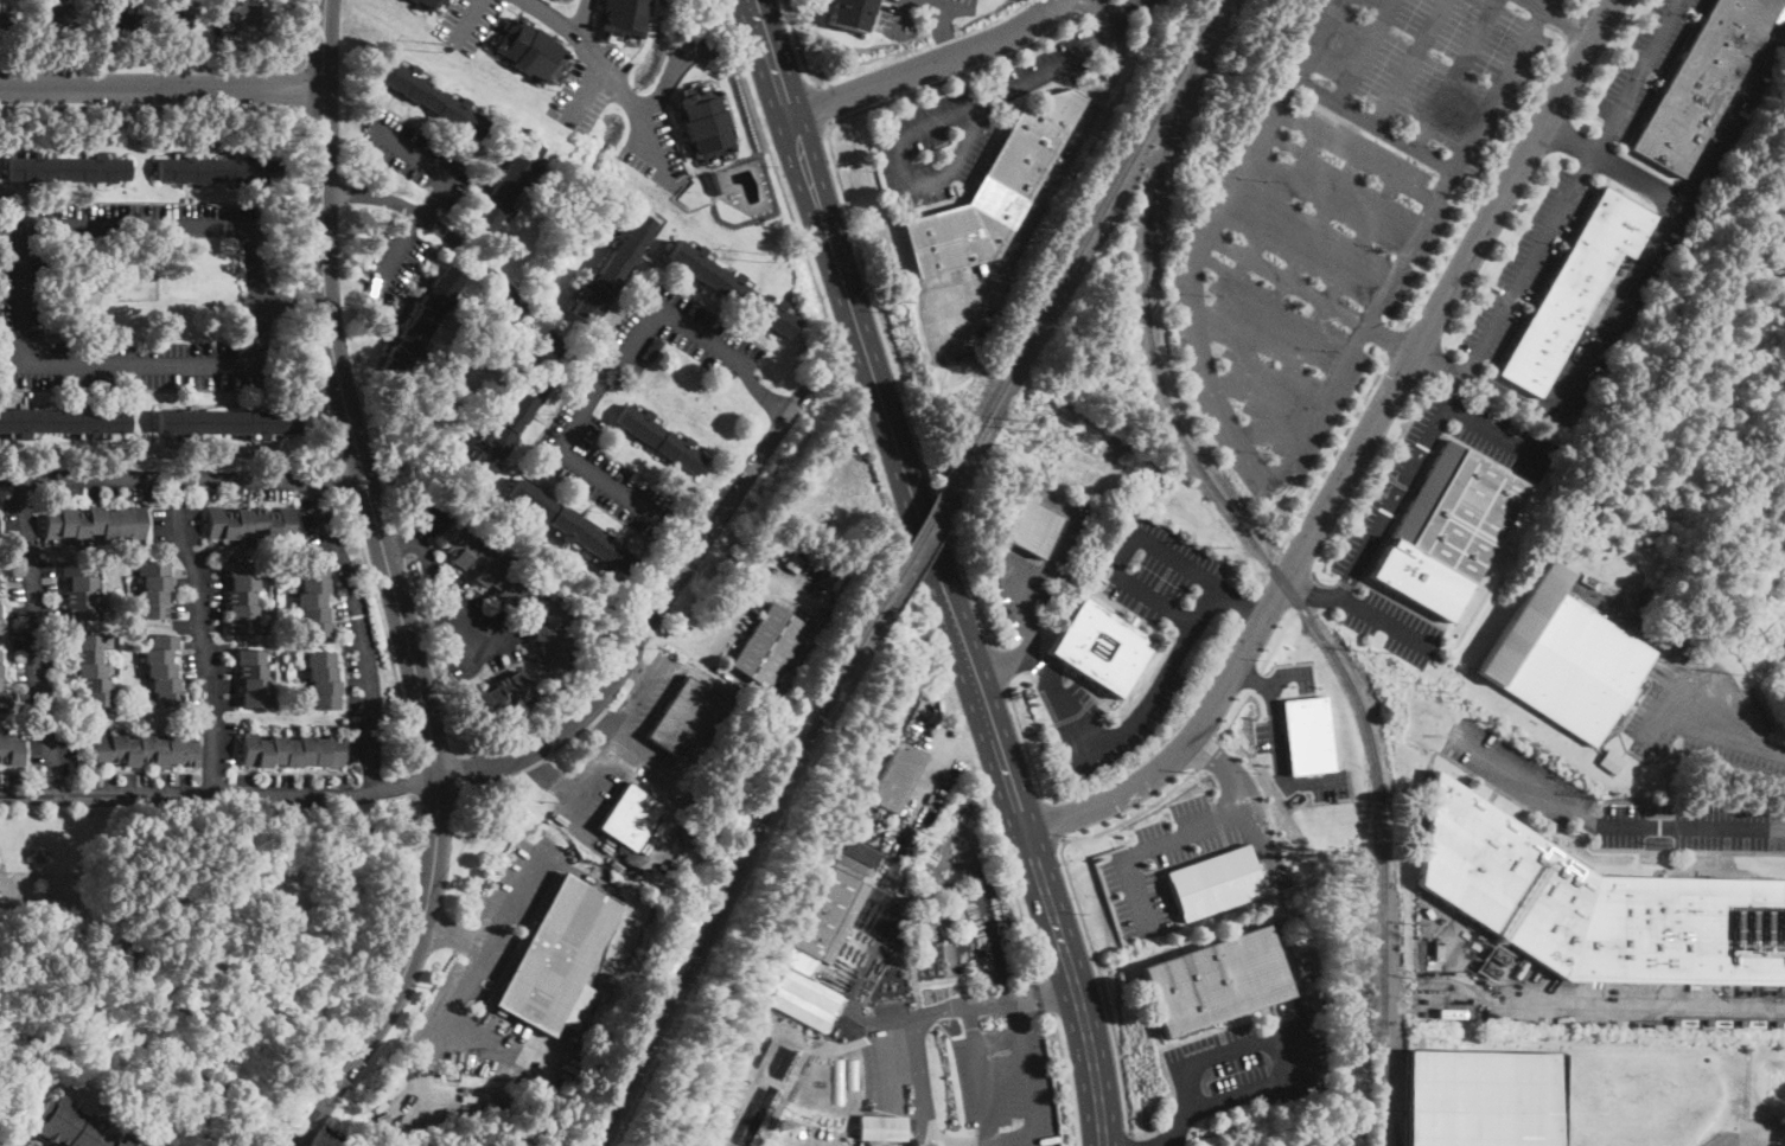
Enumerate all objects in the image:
building: (567, 0)
building: (429, 4)
road: (1586, 4)
road: (1080, 5)
building: (849, 14)
building: (119, 15)
building: (241, 15)
road: (903, 15)
building: (624, 17)
building: (173, 18)
road: (467, 18)
building: (57, 19)
parking lot: (897, 21)
road: (1114, 21)
parking lot: (467, 23)
road: (563, 23)
building: (2, 25)
road: (1574, 25)
road: (946, 26)
road: (305, 31)
road: (797, 43)
power tower: (432, 44)
parking lot: (696, 45)
building: (529, 51)
road: (927, 65)
parking lot: (1643, 66)
road: (669, 70)
building: (1701, 82)
road: (161, 85)
road: (302, 85)
road: (585, 89)
parking lot: (579, 96)
building: (432, 97)
road: (625, 100)
road: (821, 102)
road: (1730, 104)
road: (238, 108)
road: (931, 120)
building: (706, 124)
parking lot: (960, 127)
road: (1568, 136)
parking lot: (654, 148)
parking lot: (415, 155)
road: (432, 164)
building: (66, 168)
building: (217, 169)
building: (712, 183)
road: (1485, 184)
building: (508, 185)
road: (1569, 186)
road: (1048, 188)
building: (994, 192)
parking lot: (141, 218)
railway: (1094, 226)
parking lot: (1656, 247)
road: (393, 250)
road: (863, 254)
power tower: (758, 256)
parking lot: (389, 262)
parking lot: (1526, 265)
building: (611, 268)
road: (21, 274)
park: (135, 282)
parking lot: (21, 286)
building: (731, 288)
building: (1574, 288)
road: (305, 295)
road: (1613, 314)
building: (421, 321)
parking lot: (675, 334)
road: (1395, 341)
building: (652, 350)
road: (573, 358)
road: (1440, 364)
road: (319, 390)
road: (343, 395)
building: (62, 422)
building: (224, 423)
power tower: (1024, 423)
building: (504, 427)
road: (1492, 433)
building: (659, 438)
road: (1357, 456)
parking lot: (598, 457)
road: (1321, 474)
road: (600, 475)
road: (181, 478)
road: (344, 482)
road: (1400, 484)
road: (879, 488)
building: (94, 523)
building: (249, 523)
railway: (926, 525)
building: (1032, 526)
building: (572, 527)
parking lot: (1369, 527)
building: (1448, 531)
power tower: (1212, 545)
road: (1122, 553)
railway: (1271, 565)
building: (489, 569)
road: (933, 571)
parking lot: (1035, 572)
parking lot: (1166, 576)
road: (433, 582)
building: (81, 589)
building: (153, 589)
road: (1313, 591)
building: (242, 598)
building: (313, 600)
road: (1238, 604)
road: (1244, 608)
road: (1022, 612)
road: (1384, 620)
building: (1, 626)
parking lot: (1392, 626)
road: (651, 629)
road: (383, 630)
road: (359, 632)
road: (204, 634)
road: (36, 638)
road: (1276, 639)
building: (550, 641)
building: (769, 646)
building: (1102, 647)
power tower: (1375, 651)
building: (1563, 659)
road: (997, 664)
road: (1697, 664)
road: (1000, 666)
building: (93, 671)
building: (162, 671)
power tower: (1738, 672)
road: (1288, 674)
building: (1, 677)
building: (254, 679)
road: (1255, 679)
building: (323, 680)
power tower: (1424, 680)
building: (502, 697)
parking lot: (1069, 698)
road: (1669, 699)
road: (1261, 700)
road: (1235, 712)
road: (1076, 713)
parking lot: (1704, 718)
building: (684, 719)
power tower: (1487, 721)
road: (1127, 729)
road: (1038, 730)
road: (1166, 735)
building: (1307, 735)
parking lot: (1268, 736)
road: (1026, 747)
road: (1277, 748)
building: (11, 750)
building: (144, 750)
building: (292, 750)
road: (1209, 751)
road: (610, 760)
building: (1609, 762)
parking lot: (1517, 774)
building: (897, 776)
road: (1204, 785)
road: (219, 794)
road: (1242, 795)
power tower: (1604, 798)
road: (1135, 813)
building: (630, 818)
road: (1057, 819)
road: (1220, 822)
road: (1609, 822)
road: (1153, 846)
parking lot: (1185, 852)
railway: (739, 869)
building: (1215, 882)
building: (1596, 905)
building: (833, 908)
road: (986, 917)
road: (493, 928)
building: (1437, 950)
building: (559, 954)
building: (1521, 968)
road: (402, 975)
parking lot: (489, 977)
building: (1216, 981)
road: (1102, 982)
road: (1040, 992)
road: (455, 995)
road: (1048, 997)
building: (803, 999)
road: (1639, 1003)
building: (1454, 1014)
road: (1287, 1026)
road: (1158, 1051)
road: (919, 1055)
building: (740, 1061)
parking lot: (1249, 1064)
building: (450, 1074)
road: (977, 1074)
road: (1065, 1080)
parking lot: (1006, 1084)
road: (1027, 1088)
building: (727, 1097)
railway: (1394, 1097)
building: (1481, 1099)
building: (759, 1115)
building: (72, 1126)
road: (1182, 1127)
building: (881, 1128)
parking lot: (21, 1139)
road: (279, 1139)
road: (1129, 1139)
road: (1165, 1145)

